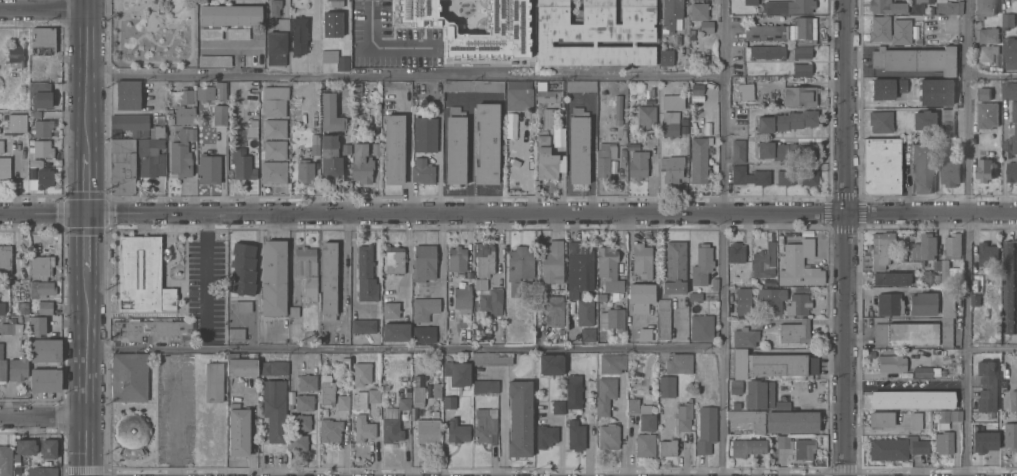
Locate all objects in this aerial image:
building: (951, 0)
building: (1013, 1)
building: (750, 2)
building: (336, 3)
road: (1006, 4)
building: (917, 6)
building: (789, 7)
building: (886, 7)
building: (275, 8)
building: (949, 8)
building: (984, 9)
road: (44, 10)
building: (672, 12)
building: (698, 12)
building: (230, 16)
building: (1006, 21)
building: (283, 25)
building: (472, 25)
building: (901, 26)
building: (705, 28)
building: (805, 32)
building: (596, 33)
building: (765, 33)
building: (211, 34)
building: (238, 34)
building: (299, 36)
building: (988, 36)
road: (315, 37)
building: (43, 41)
road: (377, 48)
building: (276, 49)
building: (767, 53)
building: (801, 53)
building: (1010, 54)
building: (16, 55)
building: (988, 55)
building: (666, 57)
building: (915, 60)
building: (214, 61)
building: (342, 64)
building: (802, 71)
road: (406, 73)
road: (88, 76)
road: (992, 76)
building: (518, 84)
building: (581, 86)
building: (473, 87)
building: (220, 91)
building: (745, 91)
building: (1009, 91)
building: (884, 92)
building: (275, 93)
building: (203, 94)
building: (128, 95)
building: (983, 95)
building: (40, 96)
building: (186, 97)
building: (546, 97)
building: (799, 97)
building: (950, 99)
building: (519, 100)
building: (672, 102)
building: (327, 106)
building: (274, 109)
building: (250, 111)
building: (618, 111)
building: (184, 116)
building: (220, 116)
building: (987, 116)
building: (646, 118)
building: (924, 121)
building: (787, 122)
building: (880, 122)
building: (946, 123)
building: (15, 125)
building: (129, 125)
building: (670, 125)
building: (41, 129)
building: (275, 129)
building: (1014, 129)
building: (157, 132)
building: (191, 134)
building: (425, 135)
building: (487, 144)
building: (314, 146)
building: (455, 146)
building: (1, 147)
building: (579, 147)
road: (592, 148)
building: (275, 150)
building: (394, 150)
building: (738, 151)
building: (786, 152)
building: (39, 153)
building: (148, 156)
building: (330, 159)
building: (547, 159)
building: (180, 160)
building: (604, 160)
building: (698, 161)
building: (361, 164)
building: (242, 165)
building: (638, 165)
building: (881, 166)
building: (19, 167)
building: (122, 167)
building: (922, 168)
road: (1003, 168)
building: (4, 169)
building: (674, 169)
building: (209, 170)
building: (305, 170)
building: (983, 170)
building: (422, 172)
building: (1011, 172)
building: (32, 173)
building: (274, 173)
road: (528, 173)
building: (950, 174)
building: (750, 177)
building: (785, 178)
building: (44, 179)
building: (808, 179)
road: (87, 183)
traffic signals: (87, 214)
road: (508, 214)
road: (844, 237)
road: (724, 238)
road: (967, 238)
road: (87, 241)
building: (953, 249)
building: (880, 250)
building: (930, 251)
building: (735, 254)
building: (987, 256)
building: (486, 259)
building: (5, 260)
building: (394, 260)
building: (457, 260)
building: (642, 260)
building: (764, 262)
building: (553, 263)
building: (607, 263)
building: (701, 265)
building: (423, 266)
building: (799, 266)
building: (41, 267)
building: (675, 268)
building: (243, 269)
building: (306, 270)
road: (441, 270)
building: (579, 270)
building: (520, 271)
building: (944, 271)
road: (205, 275)
building: (142, 276)
building: (366, 276)
road: (346, 277)
building: (738, 277)
building: (274, 279)
building: (891, 280)
building: (328, 282)
building: (481, 284)
building: (714, 284)
parking lot: (209, 287)
building: (1008, 289)
building: (41, 290)
building: (615, 292)
building: (695, 296)
building: (641, 297)
building: (462, 298)
building: (770, 300)
building: (743, 301)
building: (492, 302)
building: (948, 303)
building: (923, 304)
building: (798, 305)
building: (889, 305)
building: (242, 307)
building: (45, 308)
building: (424, 308)
building: (2, 309)
building: (391, 311)
building: (554, 311)
building: (585, 313)
building: (613, 319)
building: (663, 320)
building: (36, 326)
building: (363, 326)
building: (701, 328)
building: (10, 329)
building: (150, 330)
building: (396, 332)
building: (794, 333)
building: (946, 333)
building: (235, 334)
building: (906, 334)
building: (428, 335)
building: (587, 335)
building: (645, 335)
building: (744, 338)
road: (406, 348)
road: (992, 350)
road: (799, 353)
building: (492, 360)
building: (551, 364)
building: (612, 364)
building: (679, 364)
building: (891, 364)
building: (2, 365)
building: (242, 365)
building: (773, 365)
building: (57, 366)
building: (17, 369)
building: (273, 369)
road: (87, 372)
building: (925, 373)
building: (362, 374)
building: (458, 374)
building: (129, 378)
building: (214, 382)
building: (308, 382)
building: (634, 385)
building: (667, 386)
building: (485, 387)
building: (326, 389)
building: (437, 390)
building: (573, 392)
building: (759, 394)
building: (605, 395)
building: (736, 395)
building: (373, 396)
building: (418, 396)
building: (359, 400)
building: (912, 400)
building: (449, 401)
building: (981, 401)
building: (304, 402)
building: (343, 402)
building: (1013, 402)
building: (404, 405)
building: (632, 406)
building: (782, 406)
building: (559, 407)
parking lot: (177, 409)
building: (274, 410)
road: (175, 413)
road: (502, 415)
building: (645, 415)
road: (43, 416)
building: (684, 416)
building: (948, 418)
building: (520, 419)
building: (748, 419)
building: (881, 420)
building: (915, 421)
building: (792, 422)
building: (301, 423)
building: (391, 427)
building: (485, 428)
building: (363, 429)
building: (330, 430)
building: (427, 430)
building: (706, 430)
building: (238, 431)
building: (457, 432)
building: (132, 434)
building: (984, 435)
building: (576, 436)
building: (546, 437)
building: (609, 437)
road: (680, 437)
building: (1010, 437)
road: (560, 438)
building: (784, 442)
building: (943, 443)
building: (298, 444)
building: (917, 445)
building: (645, 446)
building: (26, 447)
building: (747, 447)
building: (667, 448)
building: (48, 449)
building: (803, 449)
building: (888, 450)
building: (5, 461)
building: (46, 472)

